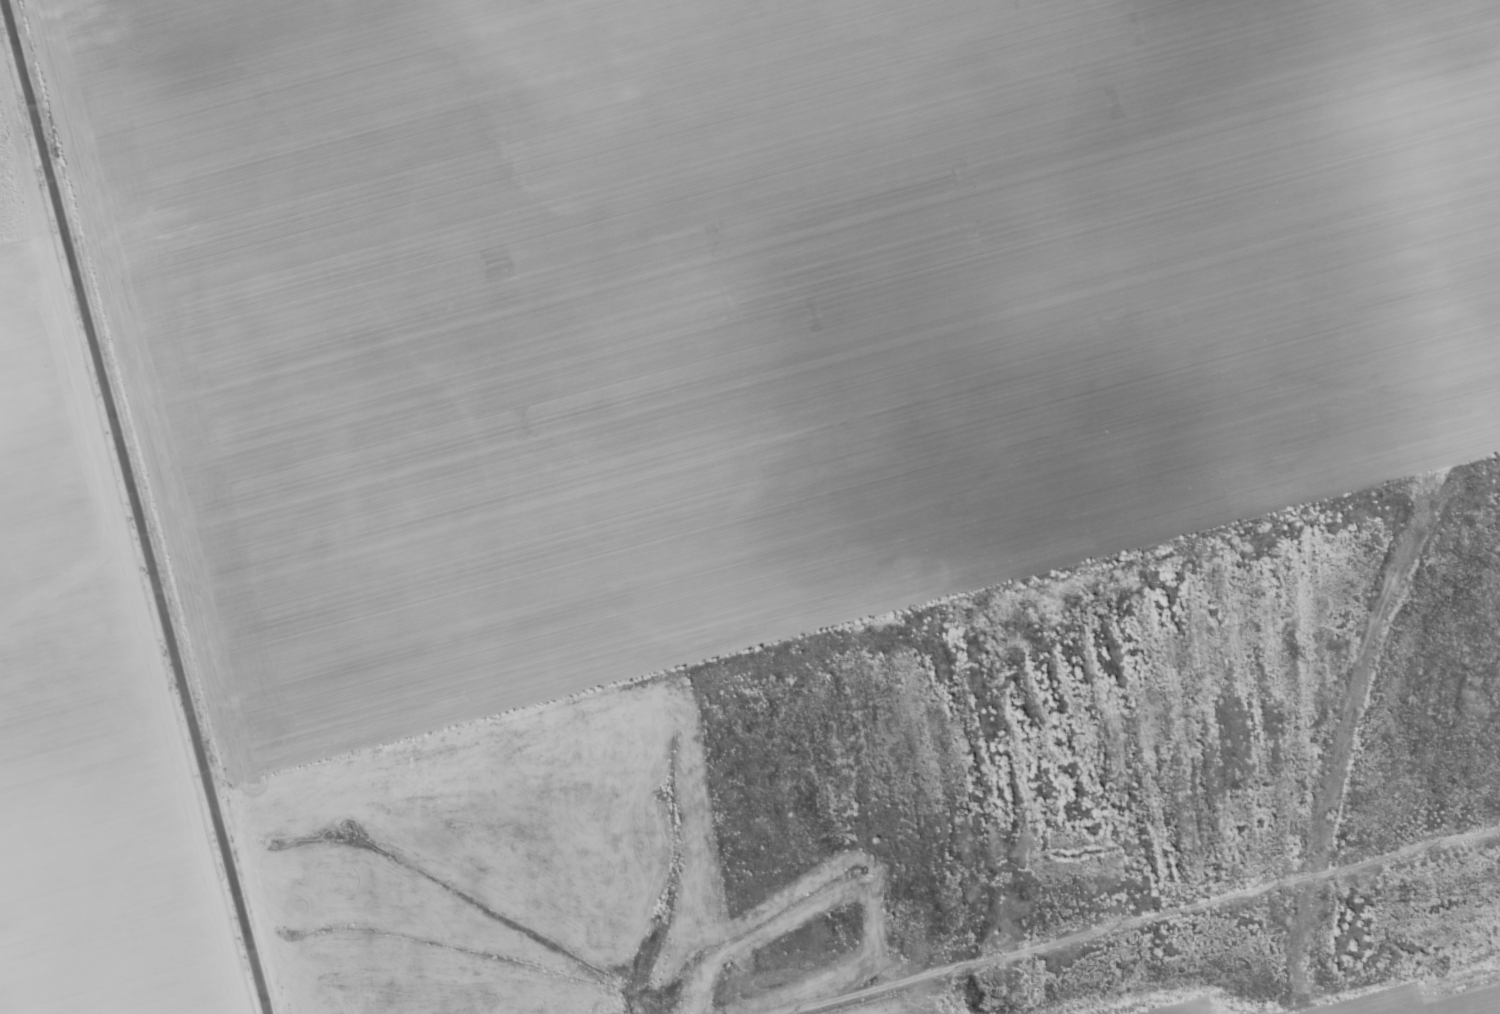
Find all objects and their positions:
road: (125, 510)
building: (1103, 832)
road: (1165, 883)
building: (1268, 941)

